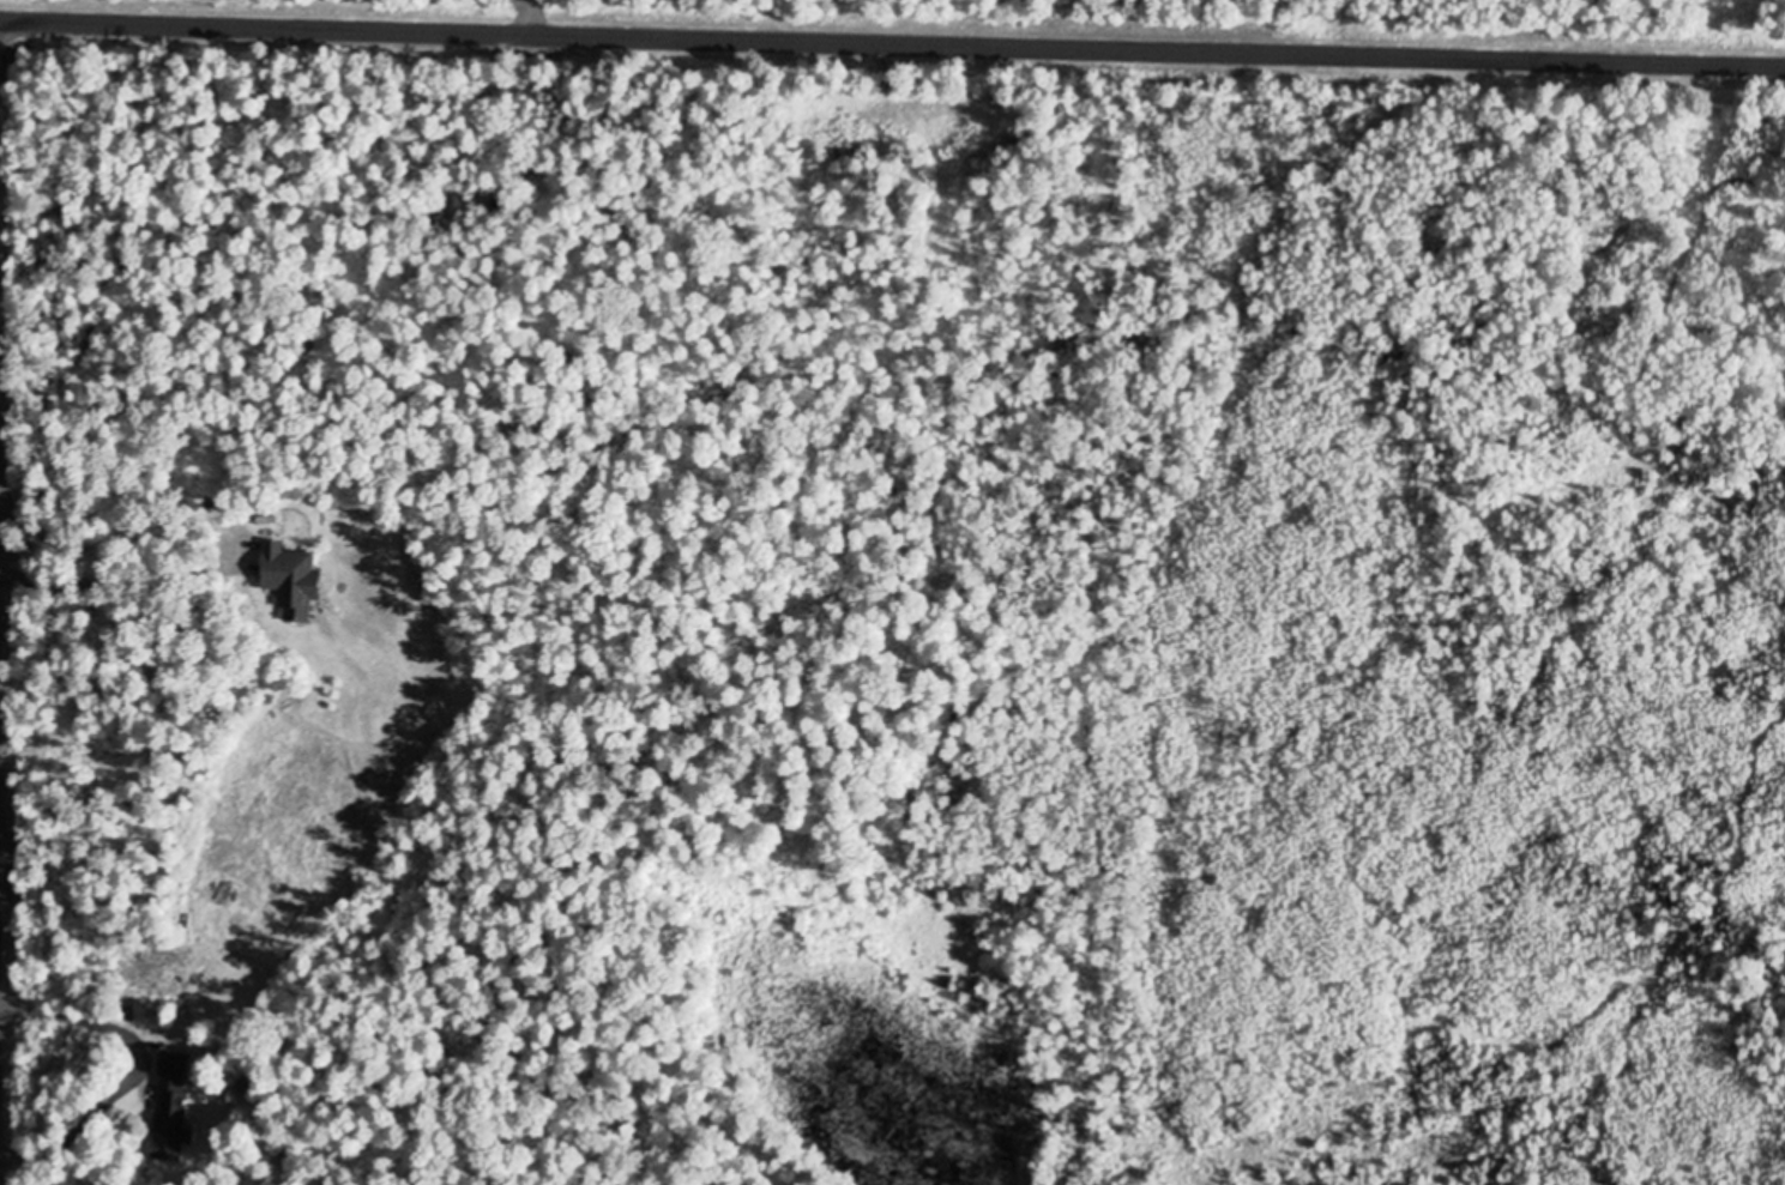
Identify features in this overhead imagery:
road: (892, 37)
road: (110, 573)
building: (296, 576)
road: (60, 1015)
building: (173, 1101)

